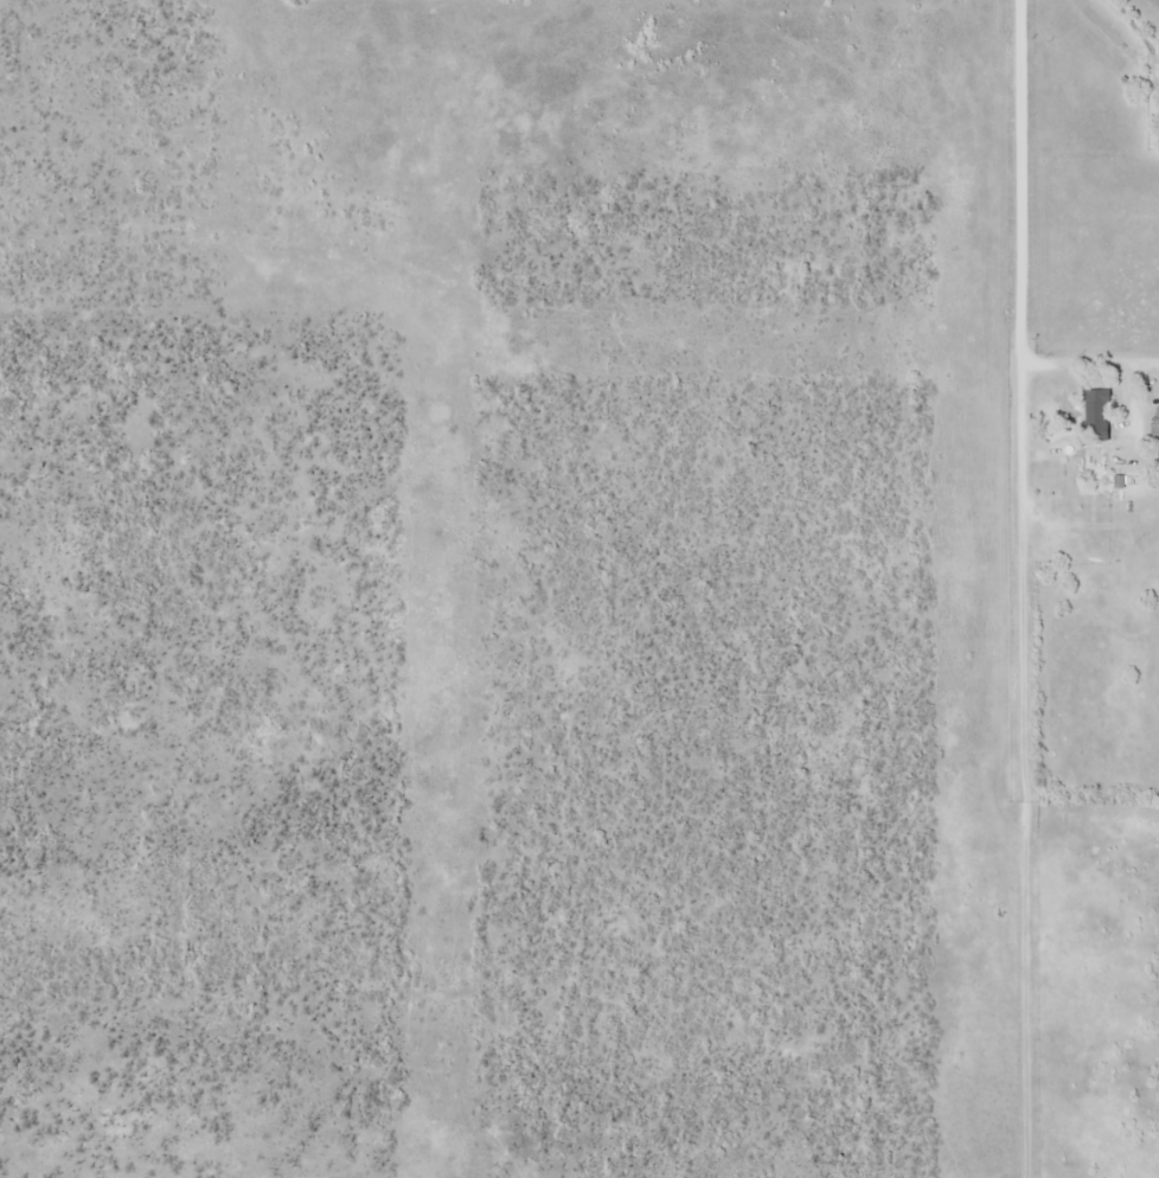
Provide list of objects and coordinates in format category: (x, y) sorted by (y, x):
road: (1019, 181)
building: (1068, 498)
road: (1020, 770)

